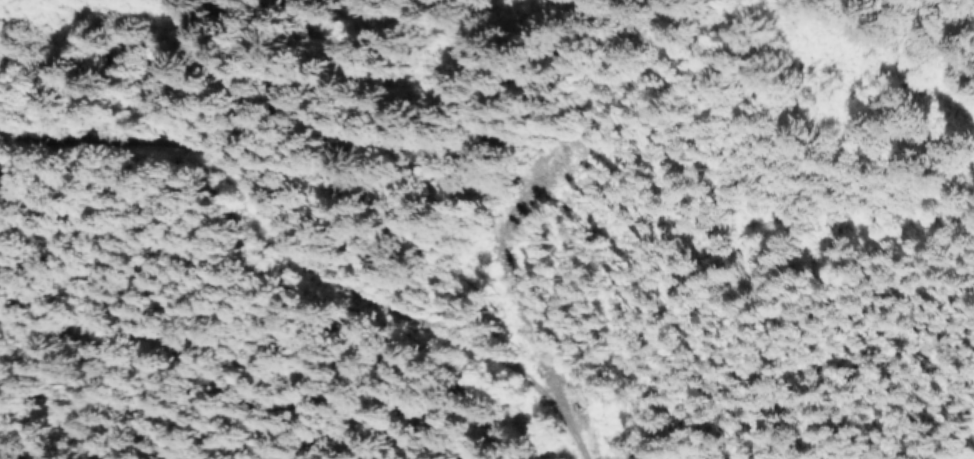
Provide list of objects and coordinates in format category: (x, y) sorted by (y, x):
road: (293, 267)

